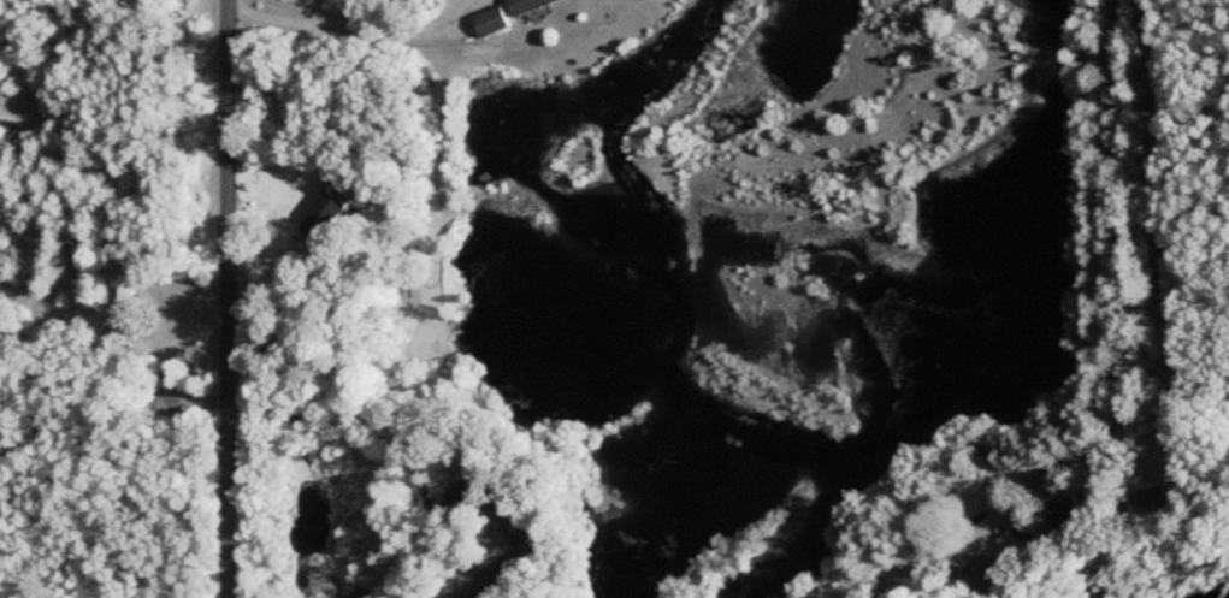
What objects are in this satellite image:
building: (525, 6)
building: (486, 23)
road: (327, 72)
building: (5, 131)
road: (1221, 200)
building: (324, 213)
road: (223, 298)
road: (439, 298)
road: (1095, 302)
building: (120, 312)
building: (1151, 499)
building: (973, 576)

